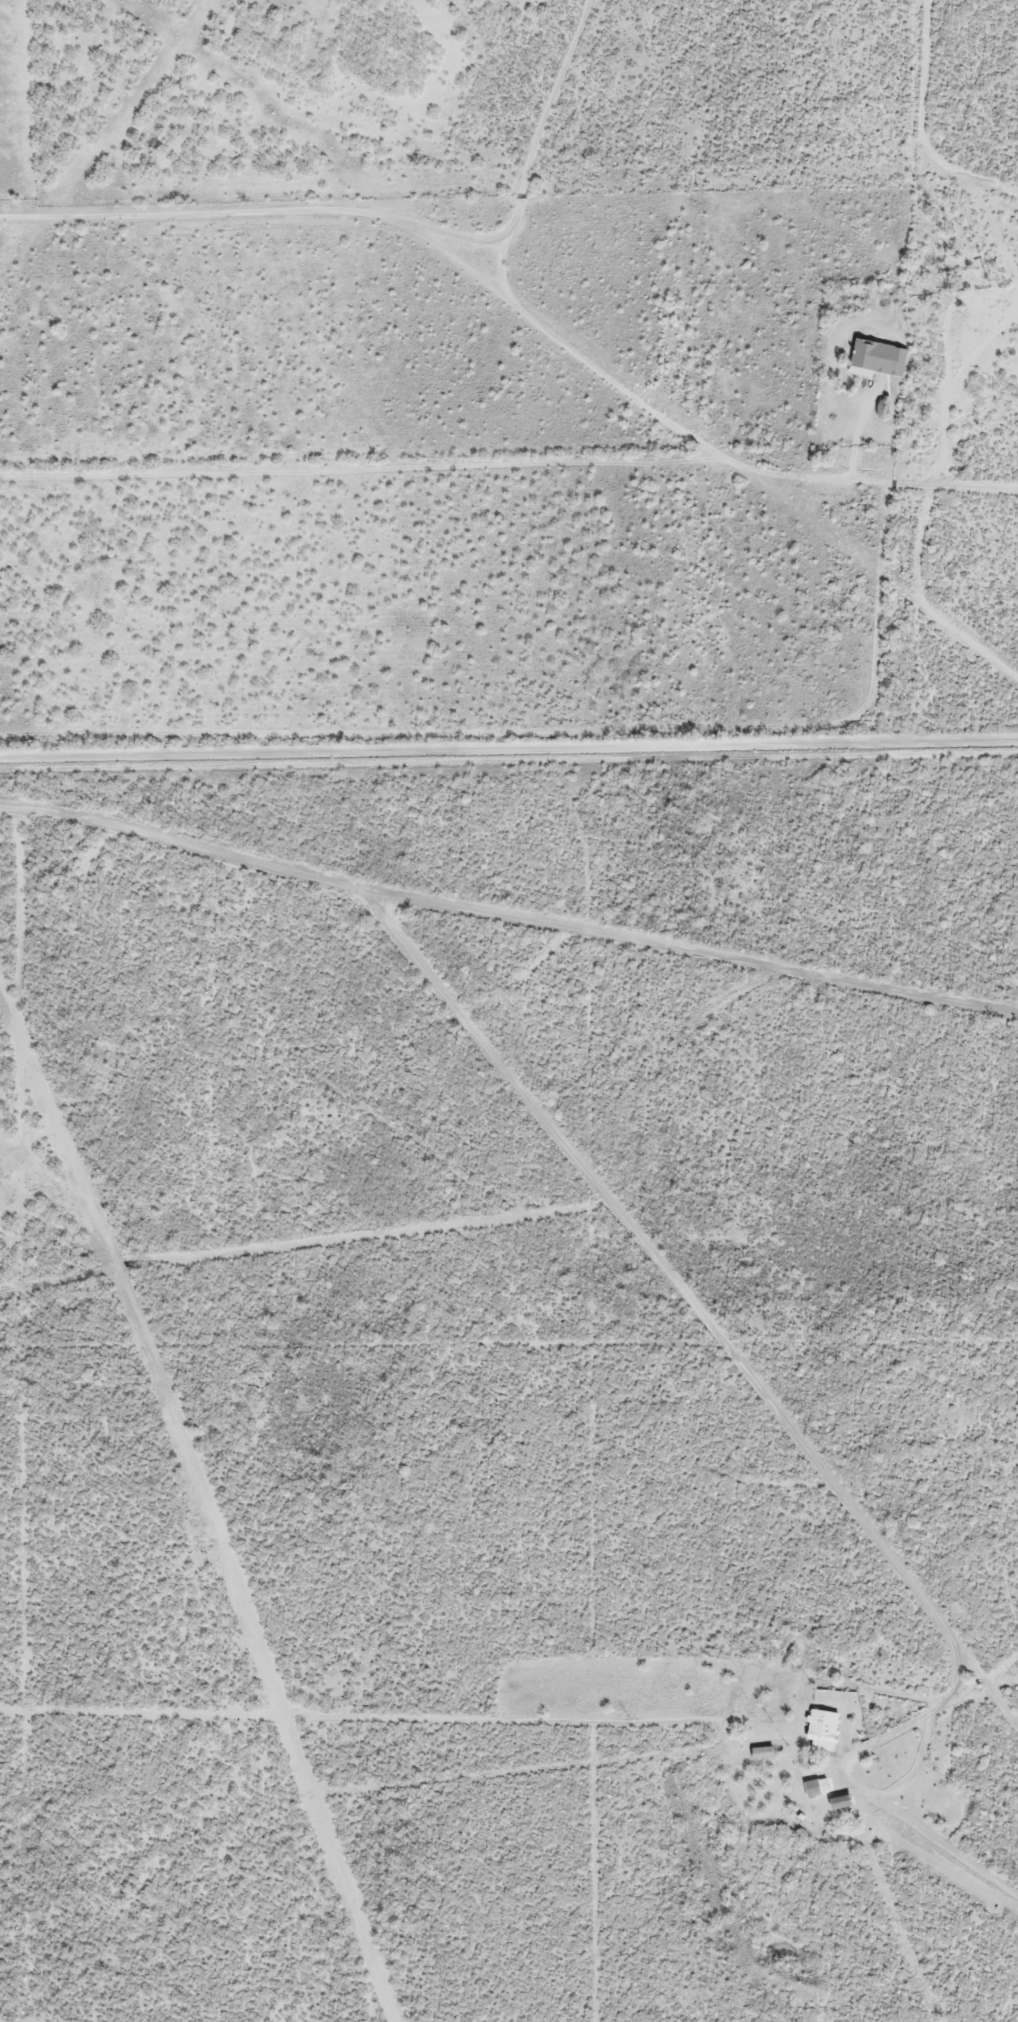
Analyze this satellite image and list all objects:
road: (560, 342)
building: (879, 354)
road: (539, 1236)
road: (927, 1480)
building: (823, 1721)
building: (817, 1784)

